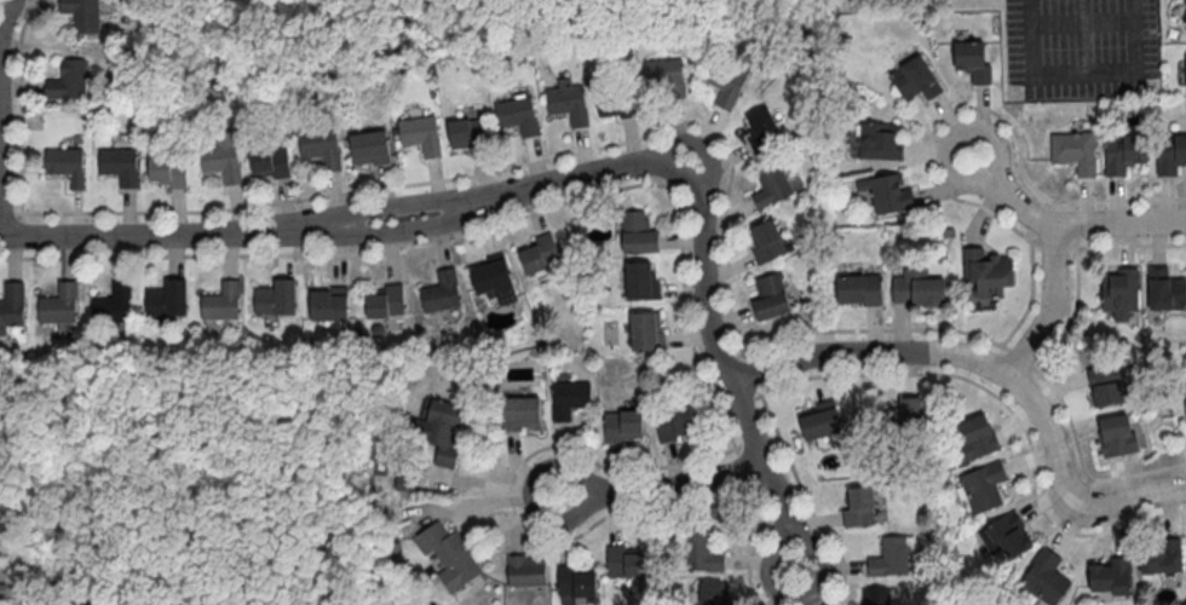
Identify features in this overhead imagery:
parking lot: (201, 1)
building: (1185, 2)
building: (82, 15)
building: (1185, 17)
parking lot: (1081, 47)
building: (973, 62)
road: (1083, 73)
building: (667, 76)
building: (915, 77)
building: (68, 80)
building: (725, 82)
building: (616, 102)
building: (568, 103)
building: (519, 114)
building: (762, 132)
building: (468, 133)
building: (422, 136)
building: (880, 143)
building: (370, 148)
building: (322, 149)
building: (1075, 151)
building: (1123, 152)
building: (1170, 154)
building: (271, 162)
building: (223, 163)
building: (67, 165)
building: (121, 166)
road: (487, 169)
building: (168, 172)
building: (771, 186)
road: (1009, 192)
building: (888, 194)
road: (948, 195)
road: (1118, 200)
road: (7, 212)
road: (334, 215)
road: (1119, 221)
road: (478, 231)
building: (638, 234)
road: (375, 235)
building: (767, 243)
building: (541, 254)
building: (988, 273)
building: (495, 280)
building: (641, 282)
building: (919, 289)
building: (860, 290)
building: (1121, 292)
building: (1167, 292)
building: (442, 293)
building: (771, 298)
building: (276, 299)
building: (168, 300)
road: (1031, 300)
building: (386, 302)
building: (221, 304)
building: (330, 304)
building: (12, 305)
building: (59, 306)
building: (113, 306)
road: (1050, 307)
road: (1073, 315)
building: (646, 333)
road: (1001, 346)
road: (725, 367)
road: (753, 370)
road: (994, 370)
building: (1107, 386)
building: (569, 399)
road: (1011, 413)
building: (522, 414)
building: (902, 417)
building: (673, 422)
building: (821, 422)
building: (622, 427)
building: (438, 432)
building: (1118, 437)
building: (979, 439)
road: (745, 467)
building: (984, 488)
road: (661, 490)
road: (807, 497)
building: (859, 507)
road: (657, 512)
building: (1007, 537)
road: (756, 544)
building: (699, 554)
building: (450, 557)
building: (891, 559)
building: (1162, 559)
building: (624, 563)
building: (526, 572)
building: (1112, 578)
building: (1046, 580)
building: (575, 583)
building: (714, 594)
building: (876, 597)

